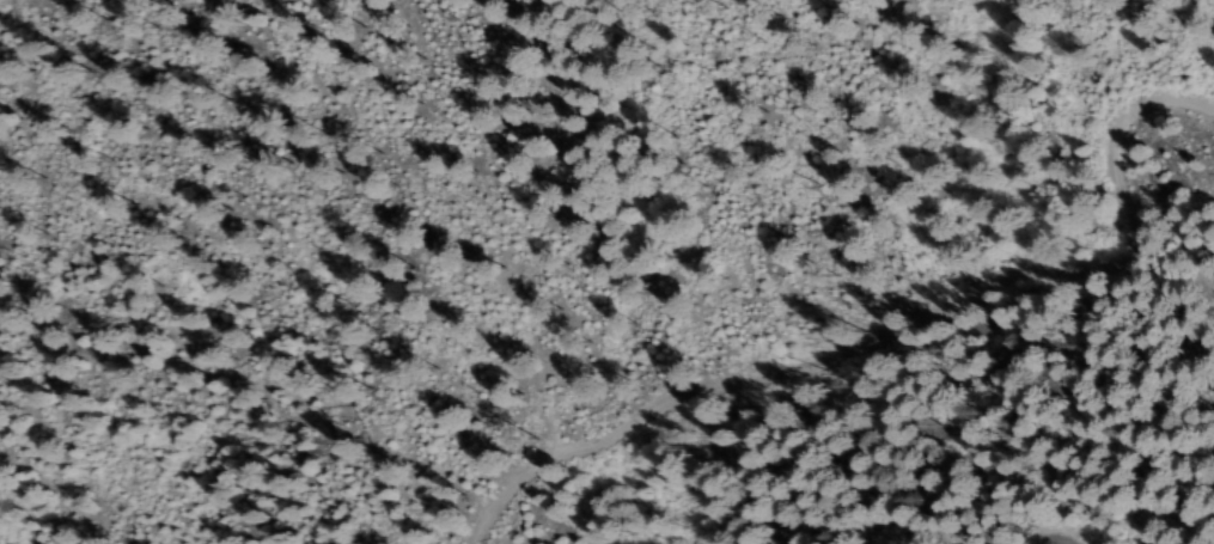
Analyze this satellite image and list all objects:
road: (1049, 533)

